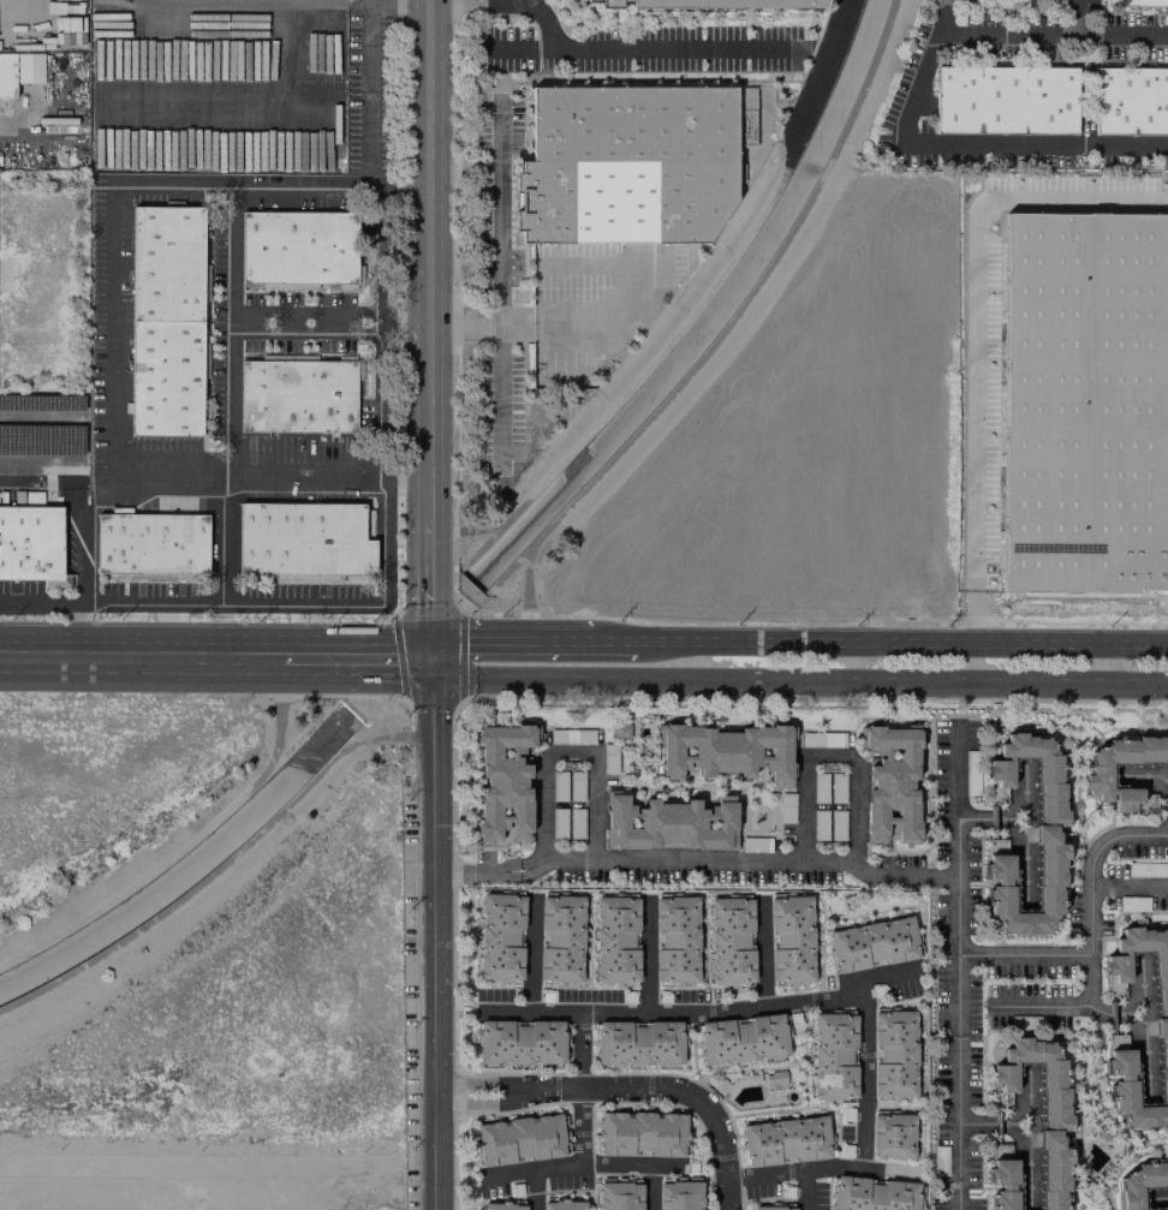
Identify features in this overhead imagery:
road: (175, 0)
road: (399, 0)
road: (529, 1)
building: (711, 2)
building: (1134, 4)
road: (1009, 32)
road: (1107, 32)
road: (812, 48)
road: (597, 49)
road: (524, 50)
building: (19, 70)
road: (820, 73)
road: (367, 82)
building: (1003, 99)
building: (1131, 100)
road: (16, 123)
road: (961, 143)
building: (626, 165)
road: (500, 220)
building: (297, 246)
road: (379, 280)
road: (566, 318)
building: (165, 320)
road: (226, 320)
road: (725, 322)
road: (430, 328)
road: (973, 330)
road: (500, 345)
building: (297, 395)
building: (1084, 403)
road: (113, 429)
road: (16, 481)
road: (386, 534)
building: (303, 540)
building: (151, 543)
building: (31, 544)
road: (84, 556)
road: (42, 601)
road: (459, 601)
road: (501, 639)
road: (607, 640)
road: (902, 644)
road: (139, 656)
road: (354, 656)
traffic signals: (430, 657)
road: (795, 681)
road: (405, 701)
road: (411, 721)
building: (571, 737)
building: (823, 739)
building: (727, 752)
road: (571, 753)
road: (829, 756)
building: (609, 758)
building: (1100, 775)
road: (1143, 777)
building: (503, 782)
building: (890, 783)
building: (559, 786)
building: (576, 786)
building: (820, 788)
building: (838, 788)
road: (1026, 794)
building: (1149, 801)
building: (786, 807)
road: (994, 821)
building: (1049, 821)
building: (558, 823)
building: (576, 823)
building: (668, 823)
building: (820, 824)
building: (755, 845)
road: (163, 846)
road: (743, 862)
road: (1026, 863)
road: (208, 870)
road: (478, 872)
road: (1090, 892)
road: (435, 932)
building: (501, 937)
building: (560, 940)
building: (615, 940)
building: (677, 940)
building: (791, 940)
building: (731, 942)
building: (872, 942)
road: (765, 954)
road: (1026, 954)
road: (536, 955)
road: (650, 956)
road: (961, 974)
road: (1039, 1007)
road: (703, 1013)
building: (1162, 1015)
building: (741, 1039)
building: (519, 1042)
building: (638, 1043)
building: (894, 1054)
building: (834, 1056)
road: (869, 1080)
road: (585, 1089)
road: (628, 1089)
building: (1042, 1110)
building: (640, 1134)
building: (893, 1136)
building: (520, 1139)
road: (584, 1164)
road: (826, 1168)
building: (1002, 1178)
building: (1140, 1184)
road: (654, 1187)
road: (537, 1191)
road: (808, 1191)
building: (872, 1194)
building: (618, 1196)
building: (680, 1196)
road: (1160, 1197)
building: (562, 1204)
building: (501, 1206)
building: (771, 1208)
road: (923, 1209)

